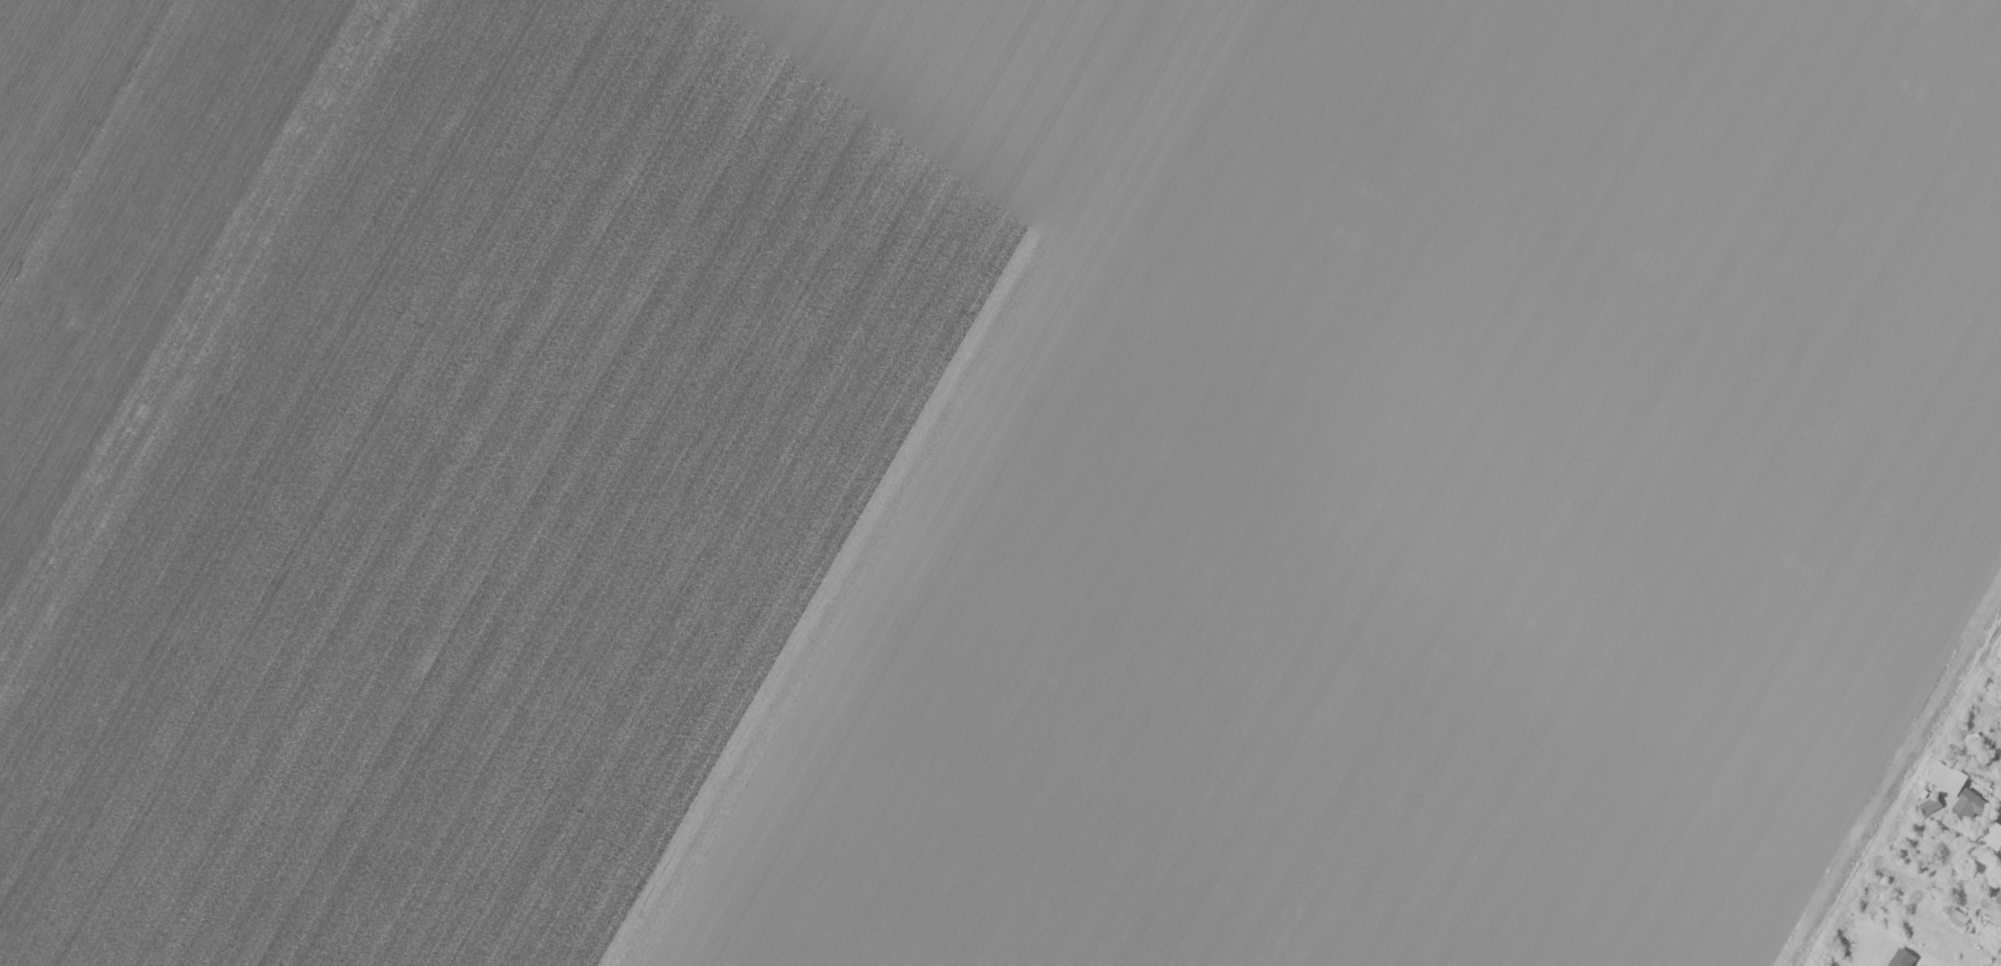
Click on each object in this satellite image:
building: (1947, 777)
building: (1929, 804)
building: (1968, 805)
building: (1990, 837)
building: (1996, 899)
building: (1900, 958)

